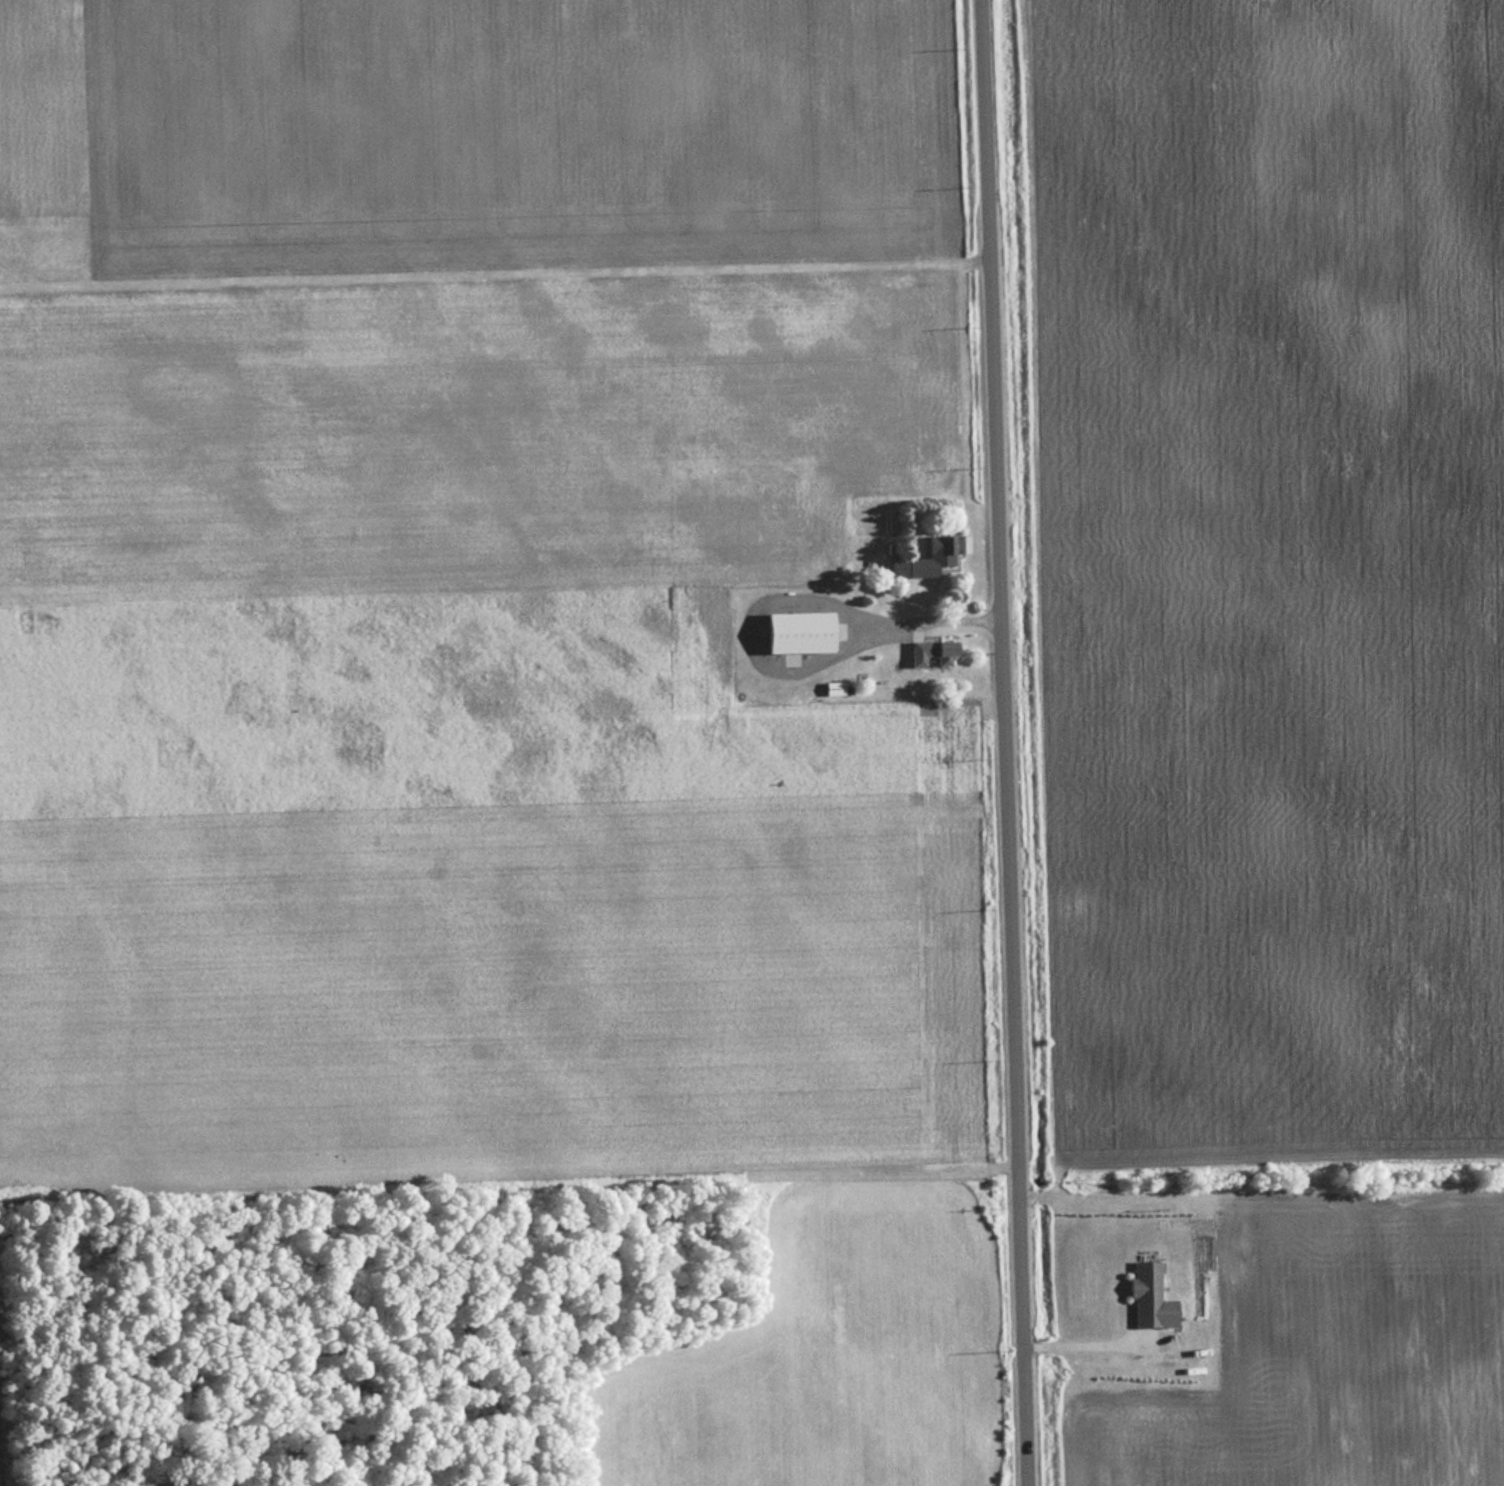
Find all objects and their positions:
building: (926, 560)
building: (794, 632)
building: (929, 651)
road: (1003, 742)
building: (1148, 1296)
road: (1083, 1340)
building: (1292, 1445)

